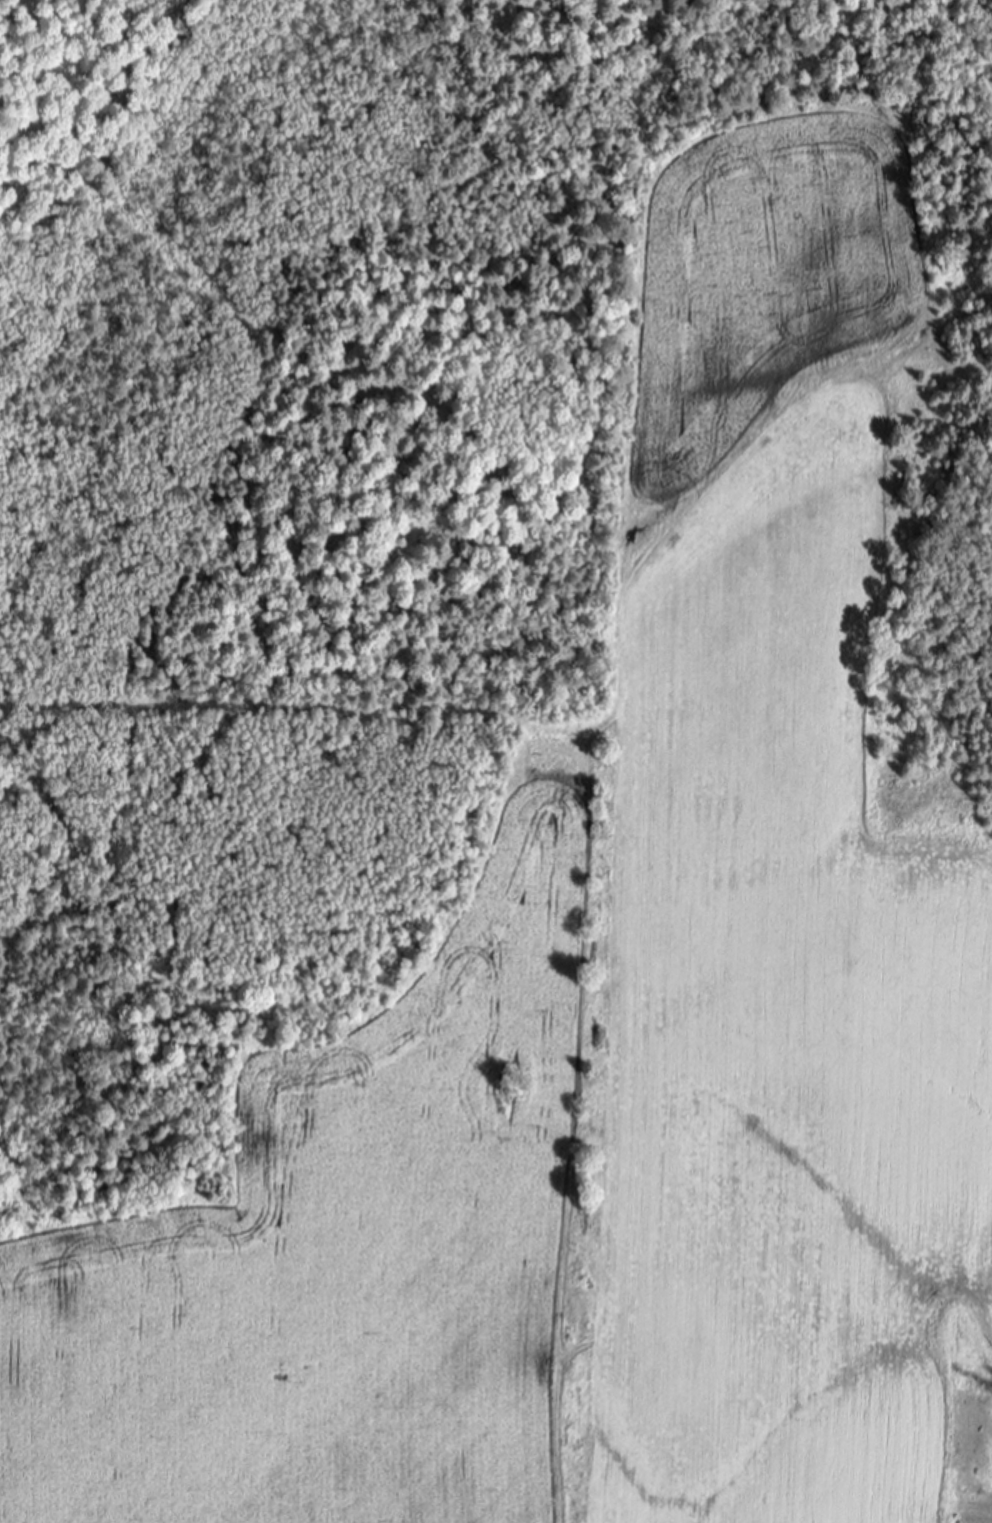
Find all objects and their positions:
building: (570, 1311)

